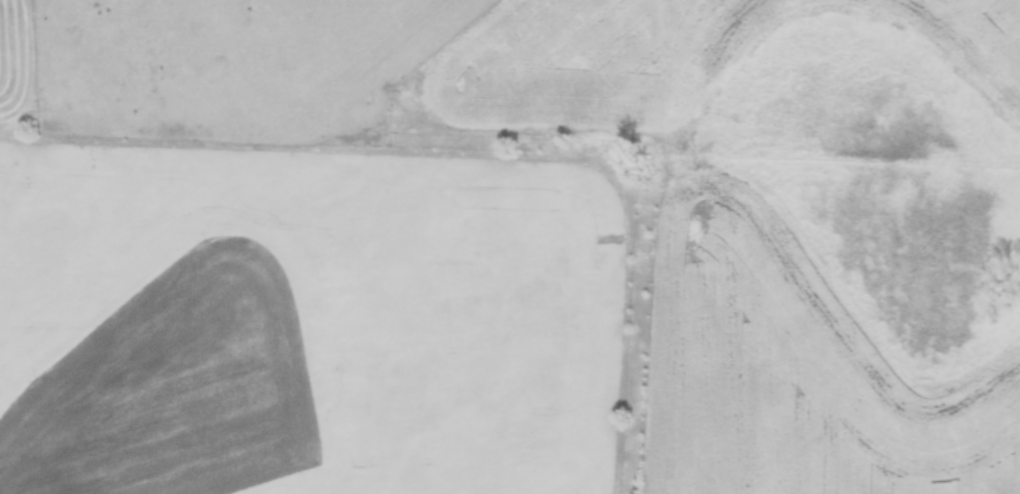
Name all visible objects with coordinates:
crop: (15, 49)

